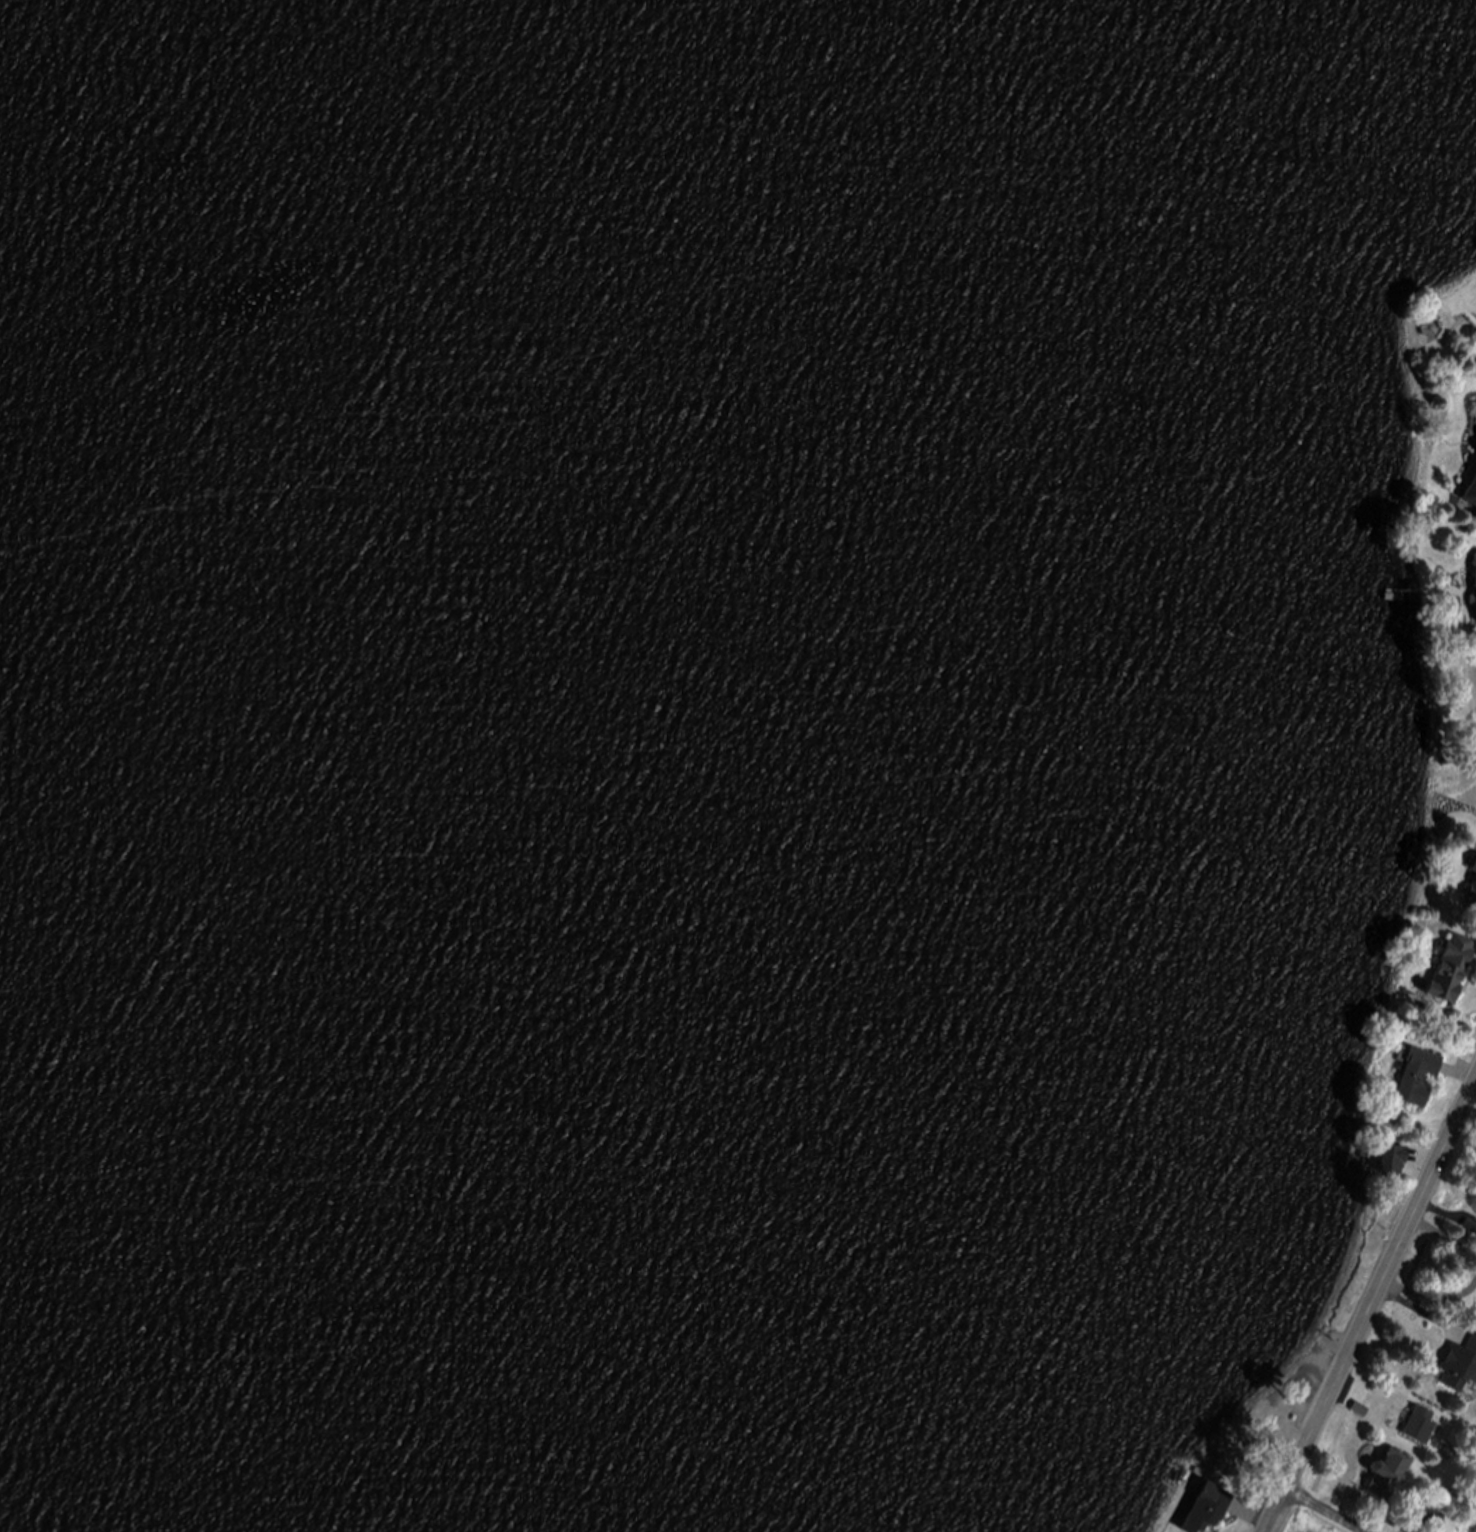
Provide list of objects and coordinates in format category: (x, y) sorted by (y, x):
building: (1429, 328)
building: (1471, 496)
building: (1475, 558)
building: (1473, 602)
building: (1474, 867)
building: (1472, 896)
building: (1449, 971)
building: (1416, 1078)
building: (1390, 1158)
building: (1470, 1228)
road: (1445, 1235)
road: (1431, 1294)
road: (1371, 1308)
building: (1460, 1367)
building: (1361, 1410)
building: (1420, 1426)
building: (1387, 1475)
building: (1463, 1499)
building: (1208, 1509)
road: (1327, 1510)
building: (1428, 1519)
crop: (1310, 1521)

